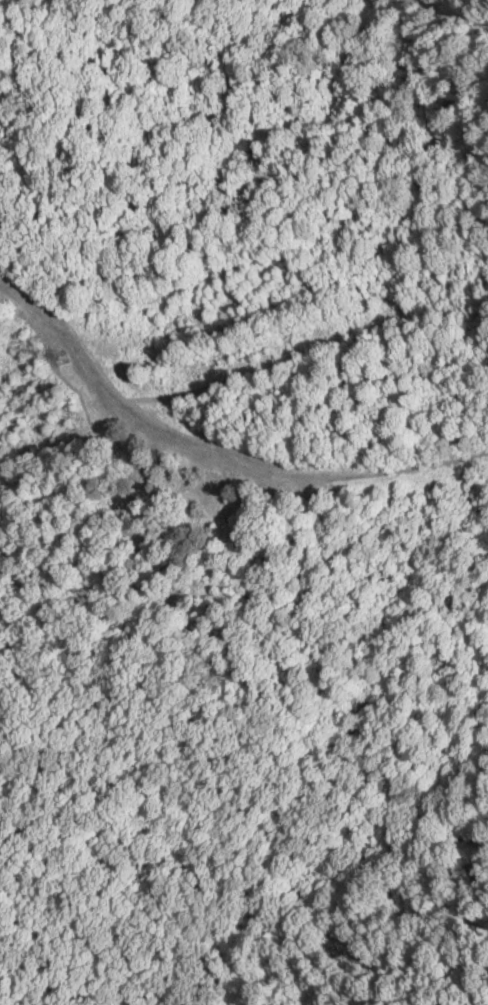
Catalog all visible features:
power tower: (37, 362)
road: (123, 397)
power tower: (78, 414)

